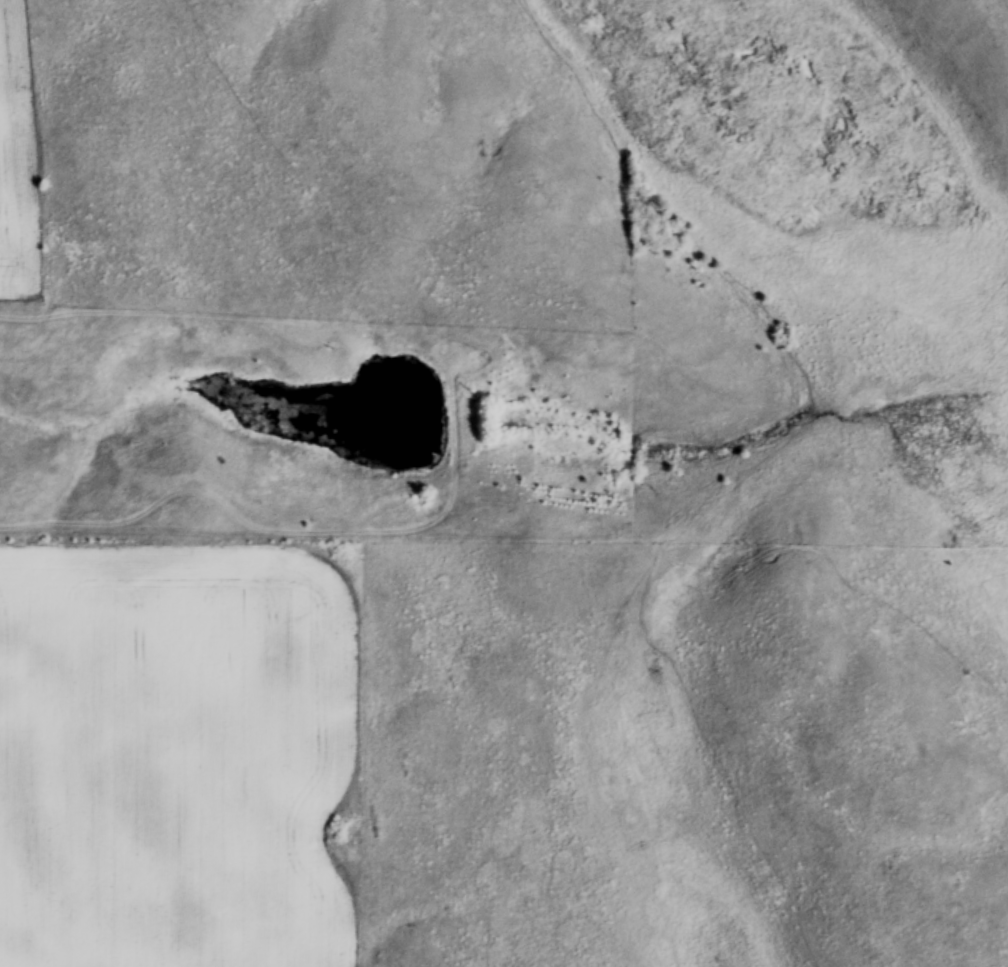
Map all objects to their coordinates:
river: (823, 93)

